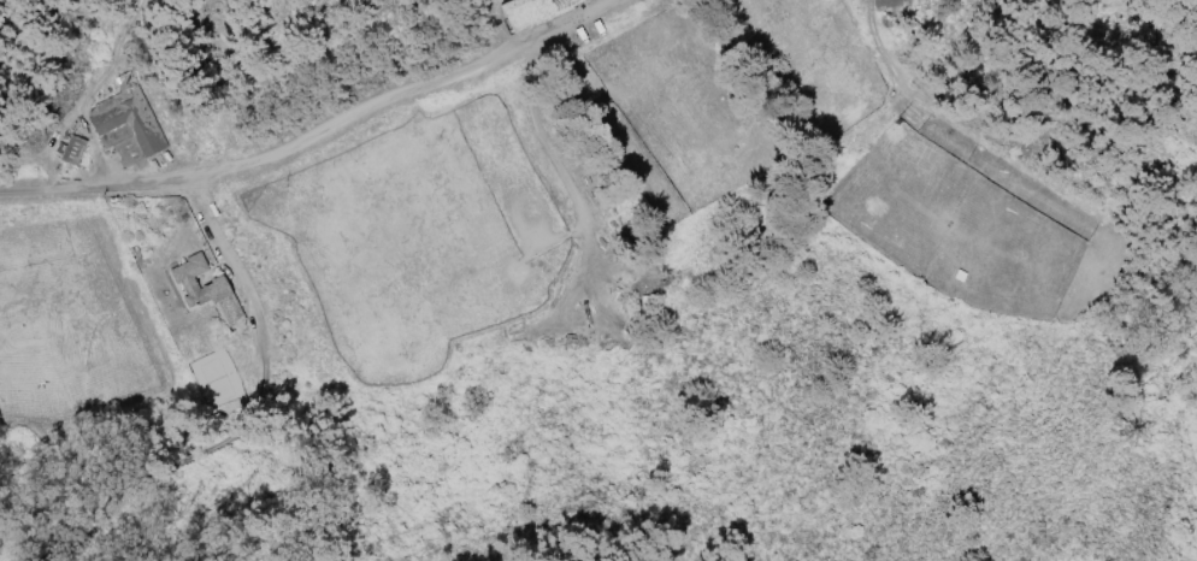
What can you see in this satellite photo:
building: (535, 13)
road: (406, 93)
building: (126, 119)
road: (537, 136)
building: (7, 142)
building: (73, 152)
crop: (920, 173)
road: (93, 187)
road: (218, 242)
crop: (462, 243)
building: (134, 252)
building: (184, 282)
crop: (63, 321)
building: (228, 338)
building: (234, 352)
building: (337, 354)

